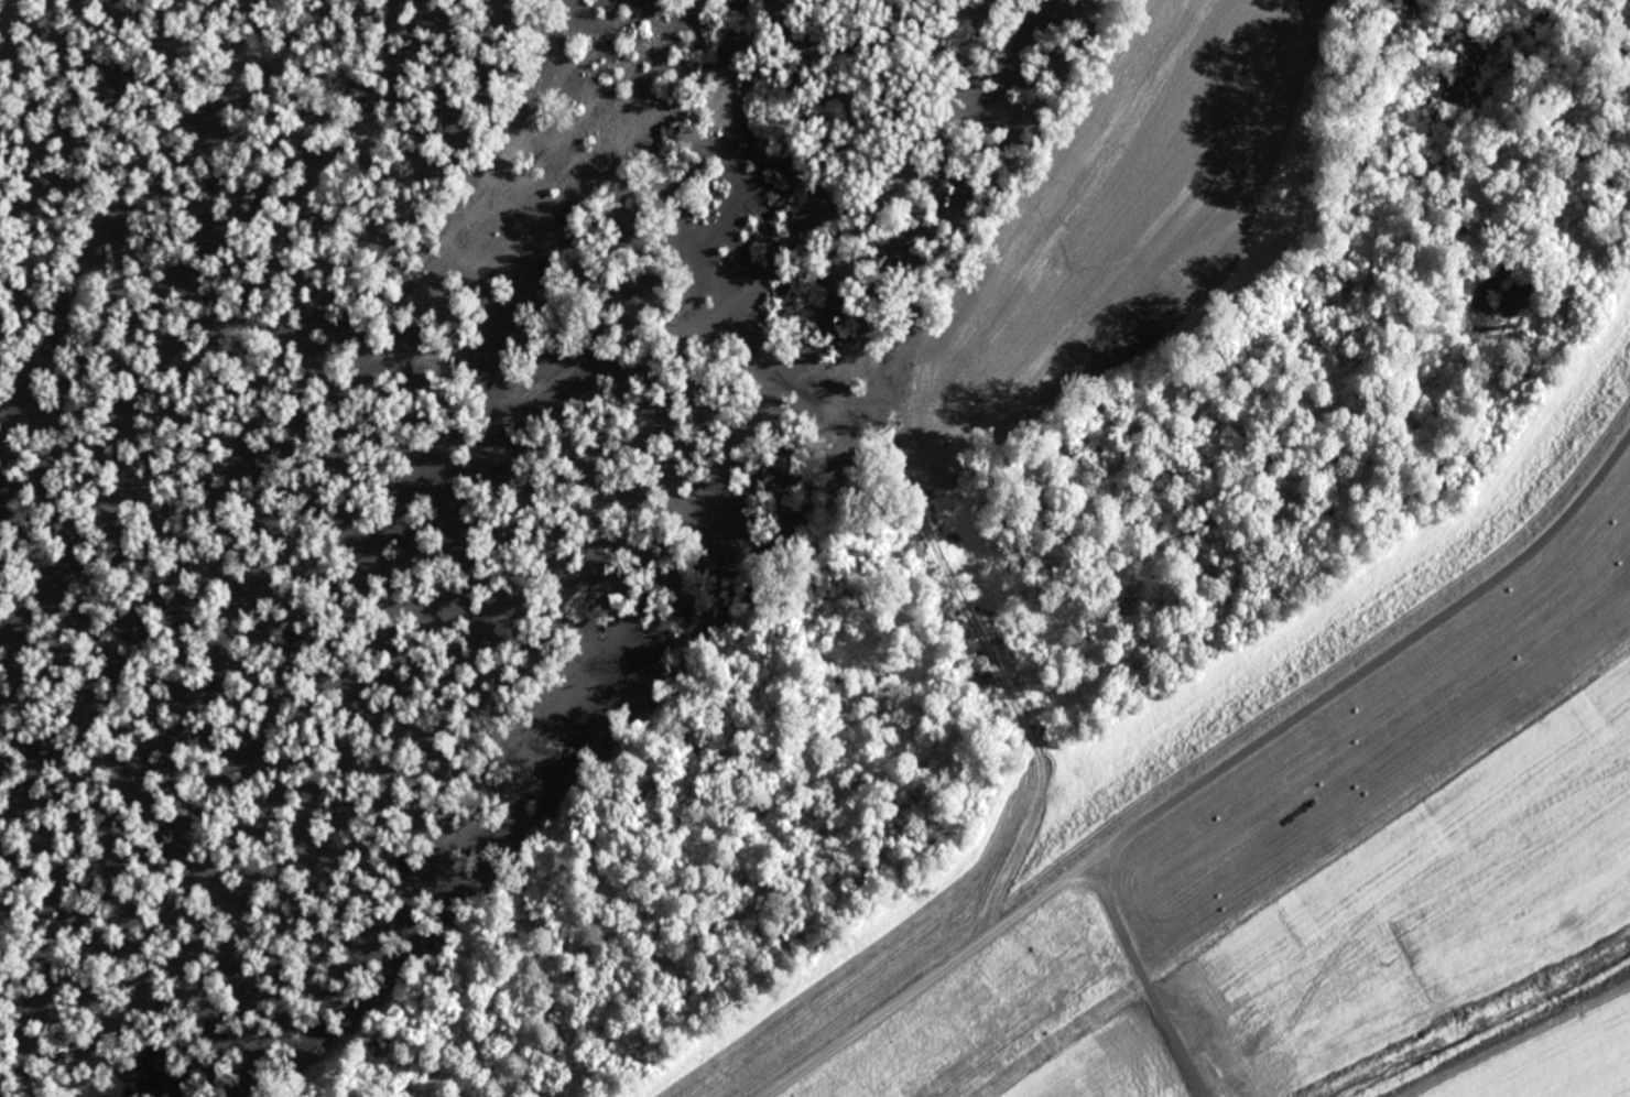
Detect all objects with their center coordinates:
road: (1028, 725)
road: (1209, 780)
road: (1149, 980)

